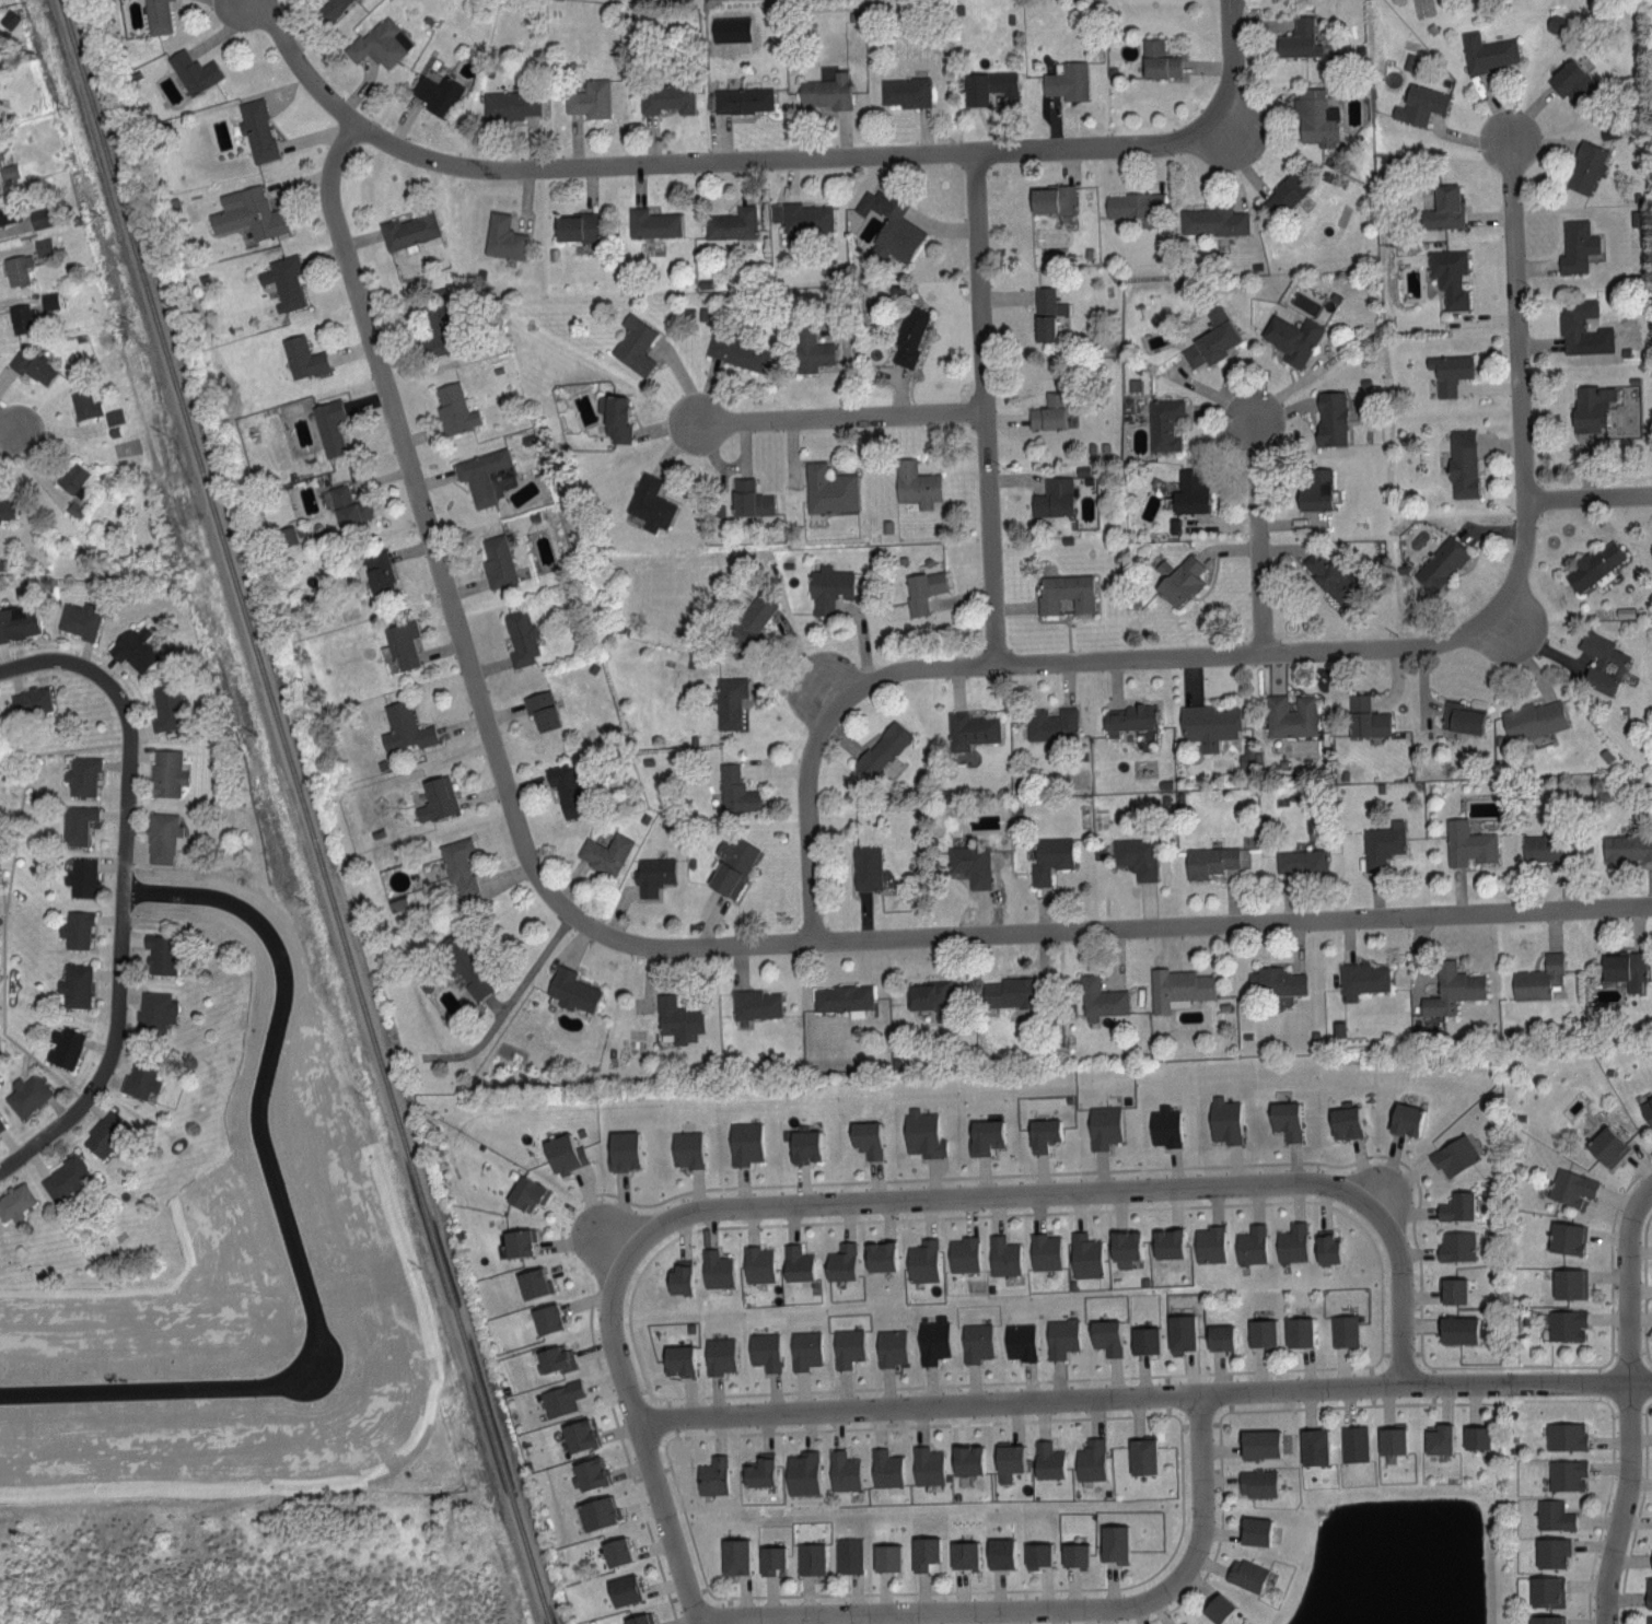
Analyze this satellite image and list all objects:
building: (331, 7)
building: (156, 15)
building: (1556, 22)
building: (1299, 37)
building: (376, 43)
building: (1489, 52)
building: (1157, 58)
building: (193, 69)
building: (1570, 78)
building: (1067, 80)
building: (987, 84)
building: (825, 90)
building: (905, 90)
building: (437, 92)
building: (665, 96)
building: (589, 98)
building: (742, 98)
building: (509, 103)
building: (1420, 103)
building: (1315, 116)
building: (256, 128)
road: (758, 160)
building: (1585, 165)
building: (8, 170)
building: (1285, 191)
building: (1051, 197)
building: (1133, 205)
building: (1444, 207)
building: (8, 208)
building: (247, 212)
building: (40, 215)
building: (801, 215)
building: (1212, 219)
building: (652, 222)
building: (731, 222)
building: (889, 224)
building: (575, 225)
building: (408, 227)
building: (503, 236)
building: (1577, 244)
building: (42, 245)
building: (16, 267)
building: (1449, 274)
building: (283, 280)
building: (48, 300)
building: (1046, 312)
building: (20, 317)
building: (1575, 322)
building: (437, 328)
building: (909, 334)
building: (1292, 337)
building: (1211, 338)
building: (633, 343)
building: (810, 348)
building: (736, 351)
building: (302, 357)
building: (32, 365)
building: (1449, 371)
building: (83, 404)
building: (1591, 406)
building: (453, 408)
road: (981, 408)
building: (1048, 411)
building: (113, 416)
building: (614, 416)
road: (839, 417)
building: (1330, 417)
road: (9, 420)
building: (1163, 422)
building: (328, 424)
building: (1462, 462)
building: (480, 474)
building: (71, 477)
building: (916, 482)
building: (827, 488)
building: (1315, 488)
building: (1190, 490)
building: (748, 496)
building: (1054, 496)
road: (1587, 498)
building: (649, 502)
building: (347, 504)
building: (5, 507)
building: (287, 533)
road: (1257, 536)
road: (432, 548)
building: (497, 561)
building: (1441, 562)
building: (1594, 564)
building: (379, 571)
building: (1327, 575)
building: (1178, 579)
building: (828, 586)
building: (922, 588)
building: (1065, 592)
building: (78, 618)
building: (751, 618)
building: (18, 620)
building: (521, 636)
building: (402, 642)
building: (132, 647)
road: (1406, 647)
building: (1602, 661)
building: (30, 700)
building: (729, 700)
building: (165, 706)
building: (540, 709)
building: (1290, 715)
building: (1365, 716)
building: (1462, 716)
building: (1128, 717)
building: (1533, 718)
building: (1050, 723)
building: (1209, 724)
building: (404, 727)
building: (969, 729)
building: (881, 749)
building: (166, 771)
building: (81, 775)
building: (566, 788)
building: (735, 790)
building: (435, 797)
railway: (304, 811)
road: (806, 818)
building: (75, 823)
building: (161, 836)
building: (1467, 842)
building: (1382, 843)
building: (1546, 846)
building: (1627, 846)
building: (604, 852)
building: (1136, 855)
building: (1049, 857)
building: (1209, 860)
building: (1301, 861)
building: (970, 863)
building: (458, 864)
building: (731, 865)
building: (865, 866)
building: (652, 874)
building: (81, 877)
building: (176, 880)
road: (123, 890)
road: (1132, 924)
building: (75, 928)
building: (159, 953)
building: (463, 965)
building: (1625, 968)
building: (1538, 978)
building: (1362, 979)
building: (1275, 980)
building: (74, 984)
building: (1178, 988)
building: (1452, 988)
building: (571, 989)
building: (1009, 992)
building: (842, 997)
building: (930, 997)
building: (1101, 998)
building: (755, 1003)
road: (505, 1008)
building: (154, 1009)
building: (676, 1019)
building: (62, 1045)
building: (139, 1079)
building: (25, 1095)
building: (1647, 1109)
building: (1224, 1119)
building: (1284, 1119)
building: (1345, 1119)
building: (1405, 1119)
building: (1, 1124)
building: (1103, 1125)
building: (1164, 1125)
building: (104, 1133)
building: (921, 1133)
building: (1043, 1133)
building: (985, 1135)
building: (865, 1137)
building: (744, 1142)
building: (804, 1144)
building: (1606, 1145)
building: (685, 1148)
building: (624, 1149)
building: (563, 1153)
building: (1454, 1155)
building: (65, 1178)
road: (864, 1180)
building: (1570, 1187)
road: (1040, 1191)
building: (525, 1193)
building: (14, 1201)
building: (1457, 1205)
road: (894, 1218)
road: (282, 1222)
road: (617, 1237)
building: (1567, 1237)
building: (517, 1241)
building: (1167, 1242)
building: (1291, 1242)
building: (1209, 1243)
building: (1250, 1245)
building: (1456, 1245)
building: (1326, 1247)
building: (1125, 1248)
building: (1045, 1251)
building: (963, 1253)
road: (1378, 1253)
building: (881, 1255)
building: (1003, 1255)
building: (1084, 1255)
building: (922, 1261)
building: (841, 1262)
building: (757, 1263)
building: (796, 1263)
building: (716, 1267)
building: (679, 1277)
building: (533, 1283)
building: (1569, 1283)
road: (1647, 1286)
building: (1453, 1289)
building: (546, 1318)
building: (1566, 1324)
building: (1458, 1329)
building: (1343, 1330)
road: (1403, 1330)
building: (1298, 1331)
building: (1180, 1332)
building: (1261, 1332)
building: (1105, 1335)
building: (1220, 1336)
building: (1060, 1337)
building: (1144, 1339)
building: (933, 1340)
building: (976, 1341)
building: (1019, 1341)
building: (847, 1346)
building: (891, 1346)
building: (805, 1348)
building: (765, 1351)
building: (719, 1355)
road: (1381, 1356)
road: (1610, 1356)
building: (555, 1358)
building: (677, 1359)
road: (1273, 1369)
road: (927, 1385)
road: (1144, 1394)
building: (561, 1398)
road: (665, 1398)
road: (1513, 1400)
road: (1607, 1402)
road: (1631, 1402)
road: (1399, 1403)
road: (1291, 1409)
road: (1168, 1413)
road: (1219, 1423)
road: (912, 1426)
road: (641, 1432)
building: (579, 1434)
building: (1566, 1436)
building: (1476, 1437)
building: (1438, 1438)
building: (1392, 1440)
building: (1353, 1442)
building: (1259, 1444)
building: (1313, 1446)
road: (666, 1451)
building: (1142, 1456)
building: (967, 1459)
building: (1047, 1460)
building: (1090, 1460)
building: (1008, 1461)
building: (927, 1465)
building: (885, 1468)
building: (759, 1470)
building: (844, 1470)
building: (802, 1472)
building: (590, 1473)
building: (1566, 1474)
building: (712, 1475)
building: (1256, 1482)
road: (1221, 1508)
building: (597, 1511)
road: (1639, 1512)
building: (1554, 1516)
road: (1604, 1516)
road: (690, 1530)
building: (1254, 1530)
building: (1114, 1542)
building: (615, 1551)
building: (923, 1552)
building: (1551, 1552)
building: (1000, 1553)
building: (963, 1554)
building: (1074, 1554)
building: (848, 1555)
building: (1036, 1555)
building: (733, 1556)
building: (886, 1557)
building: (810, 1558)
building: (1651, 1558)
building: (770, 1559)
building: (1245, 1574)
road: (1026, 1589)
building: (623, 1590)
building: (1546, 1591)
building: (1648, 1591)
road: (717, 1596)
road: (1035, 1604)
building: (1218, 1608)
road: (1170, 1611)
building: (638, 1619)
building: (1546, 1620)
building: (1649, 1620)

